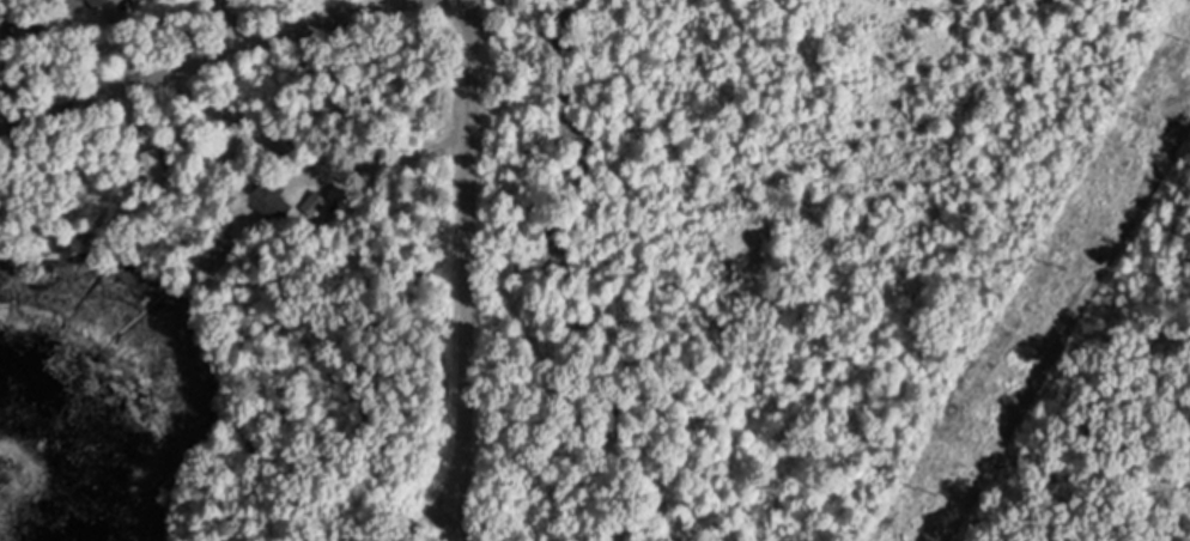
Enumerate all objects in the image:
building: (103, 2)
building: (2, 29)
road: (200, 65)
building: (158, 170)
building: (316, 205)
building: (281, 211)
road: (463, 255)
power tower: (1070, 267)
power tower: (936, 494)

